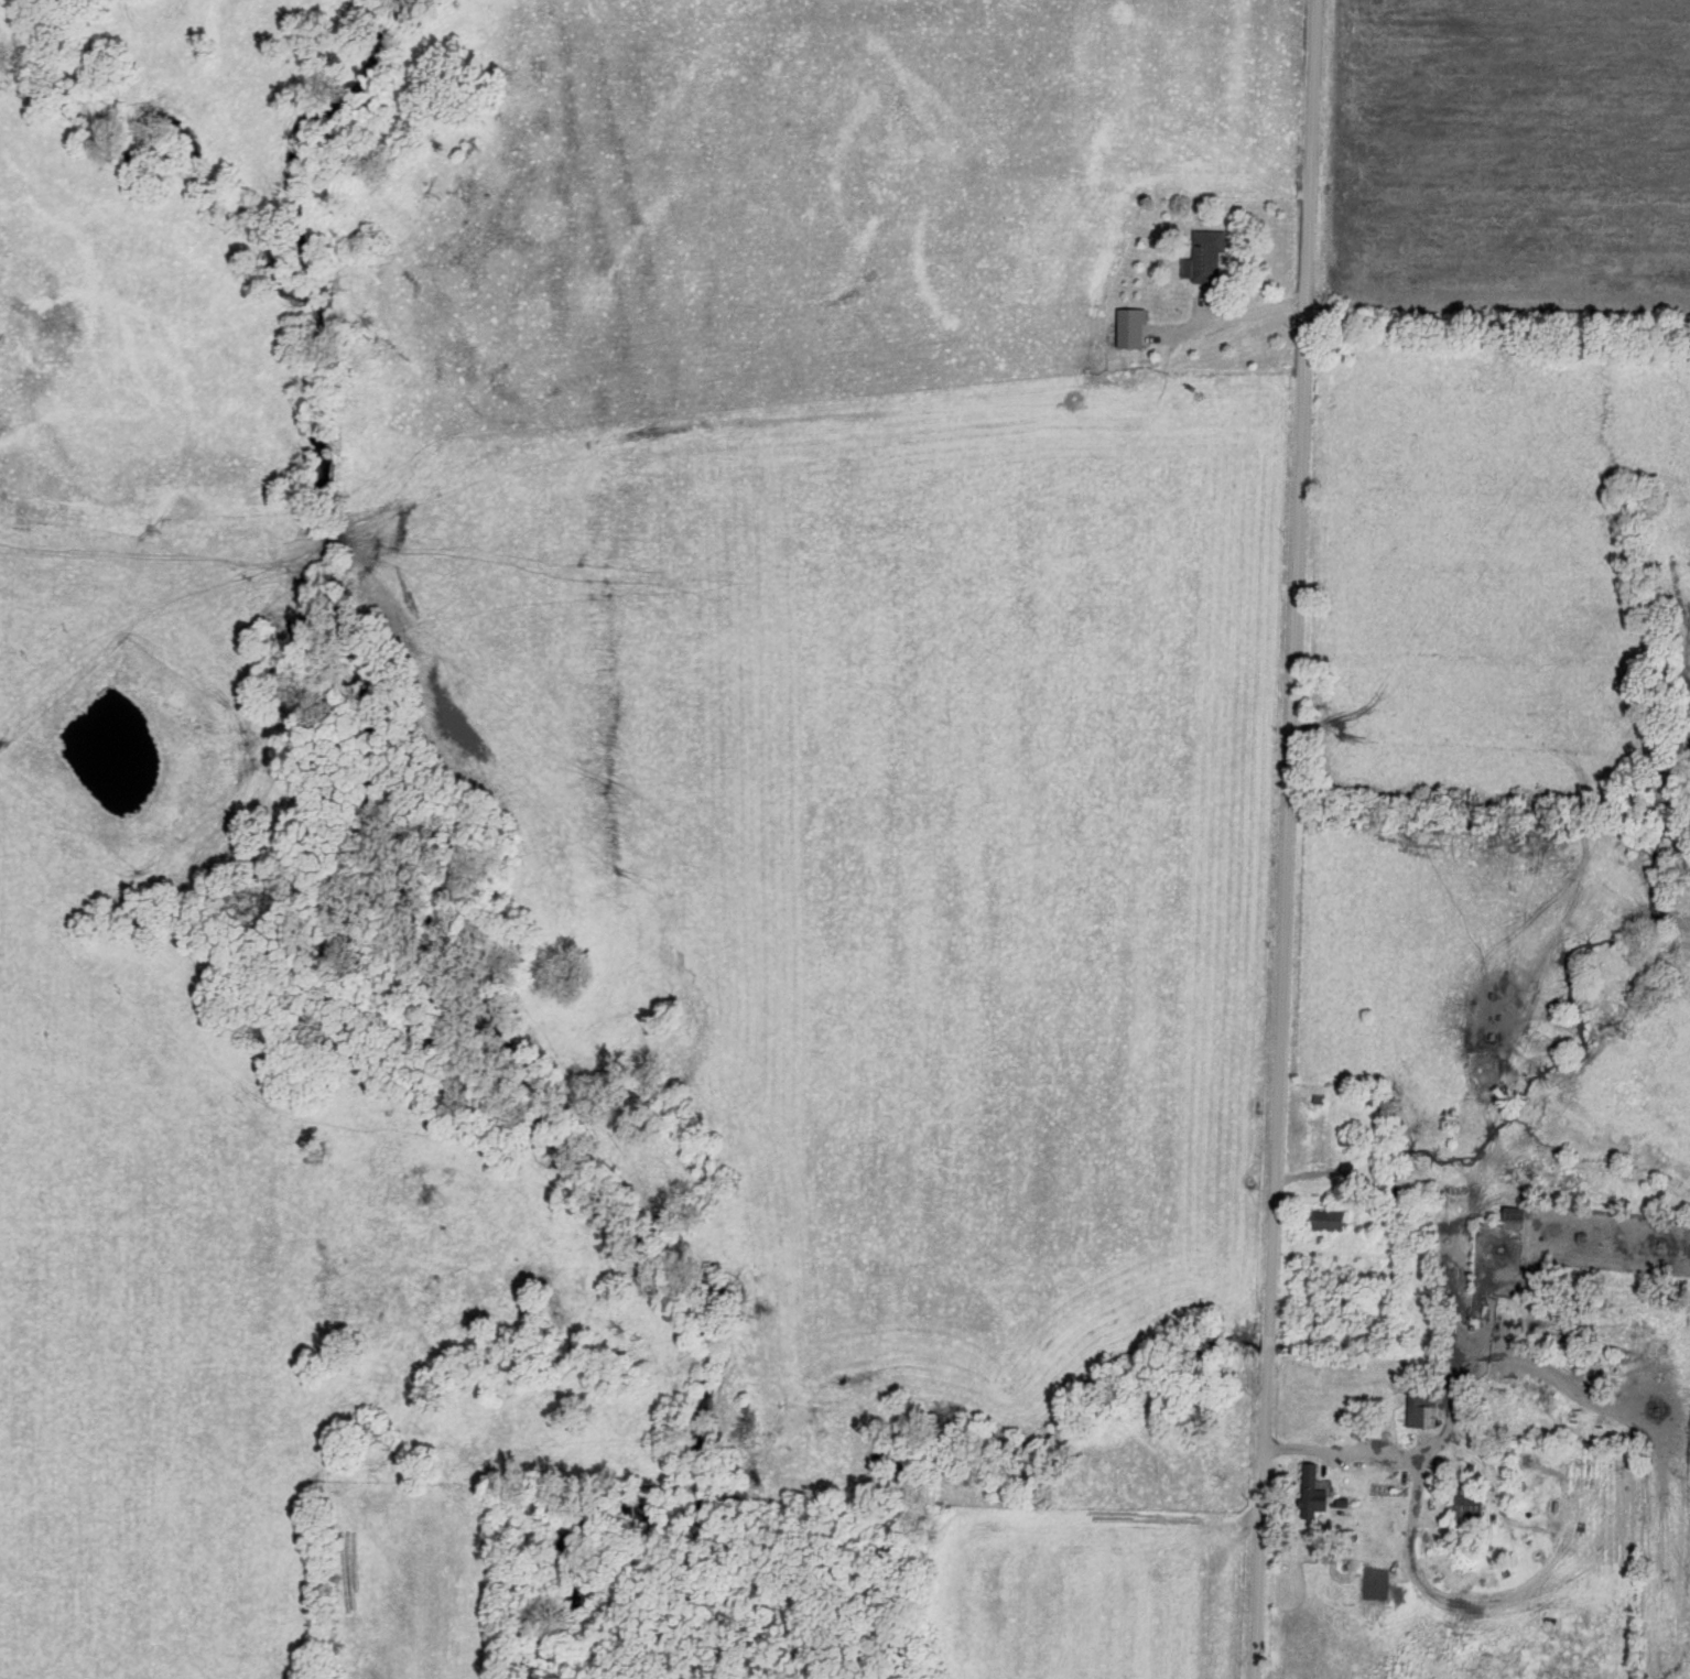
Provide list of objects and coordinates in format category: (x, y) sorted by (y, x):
building: (1204, 258)
road: (1237, 314)
building: (1129, 328)
road: (1271, 837)
building: (1329, 1220)
building: (1513, 1221)
building: (1422, 1405)
building: (1312, 1494)
building: (1466, 1503)

